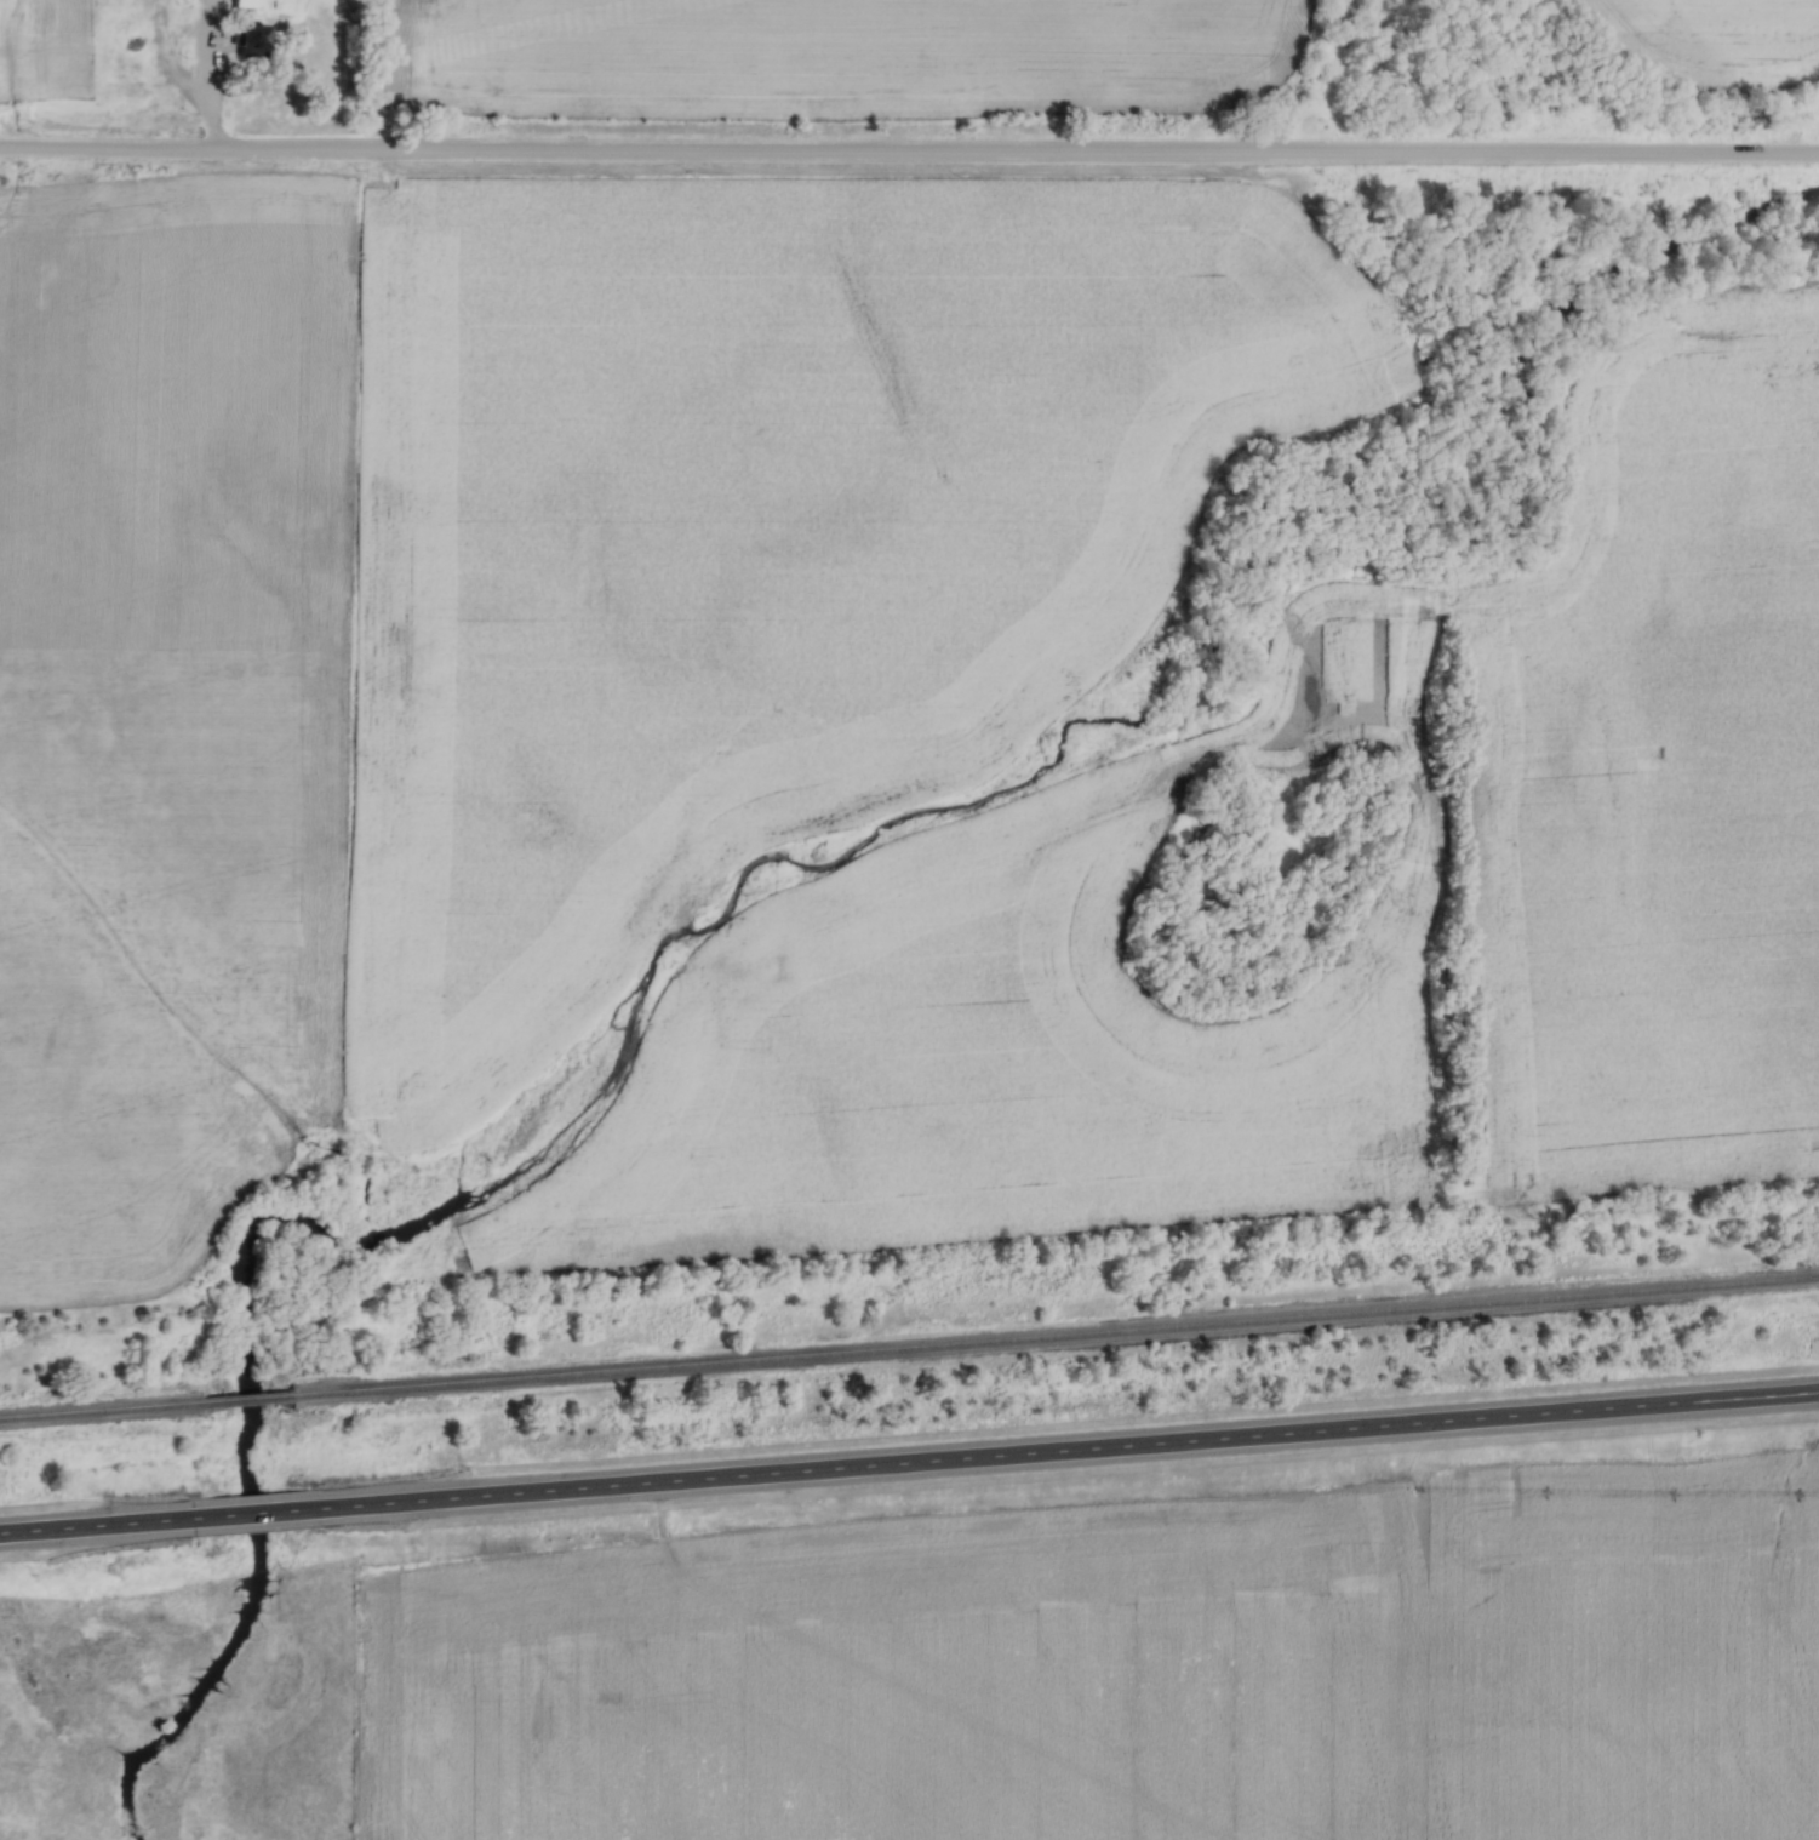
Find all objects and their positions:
building: (247, 4)
building: (261, 40)
road: (213, 74)
road: (909, 154)
railway: (1057, 1345)
railway: (250, 1400)
railway: (102, 1412)
road: (1077, 1451)
road: (264, 1514)
road: (96, 1526)

